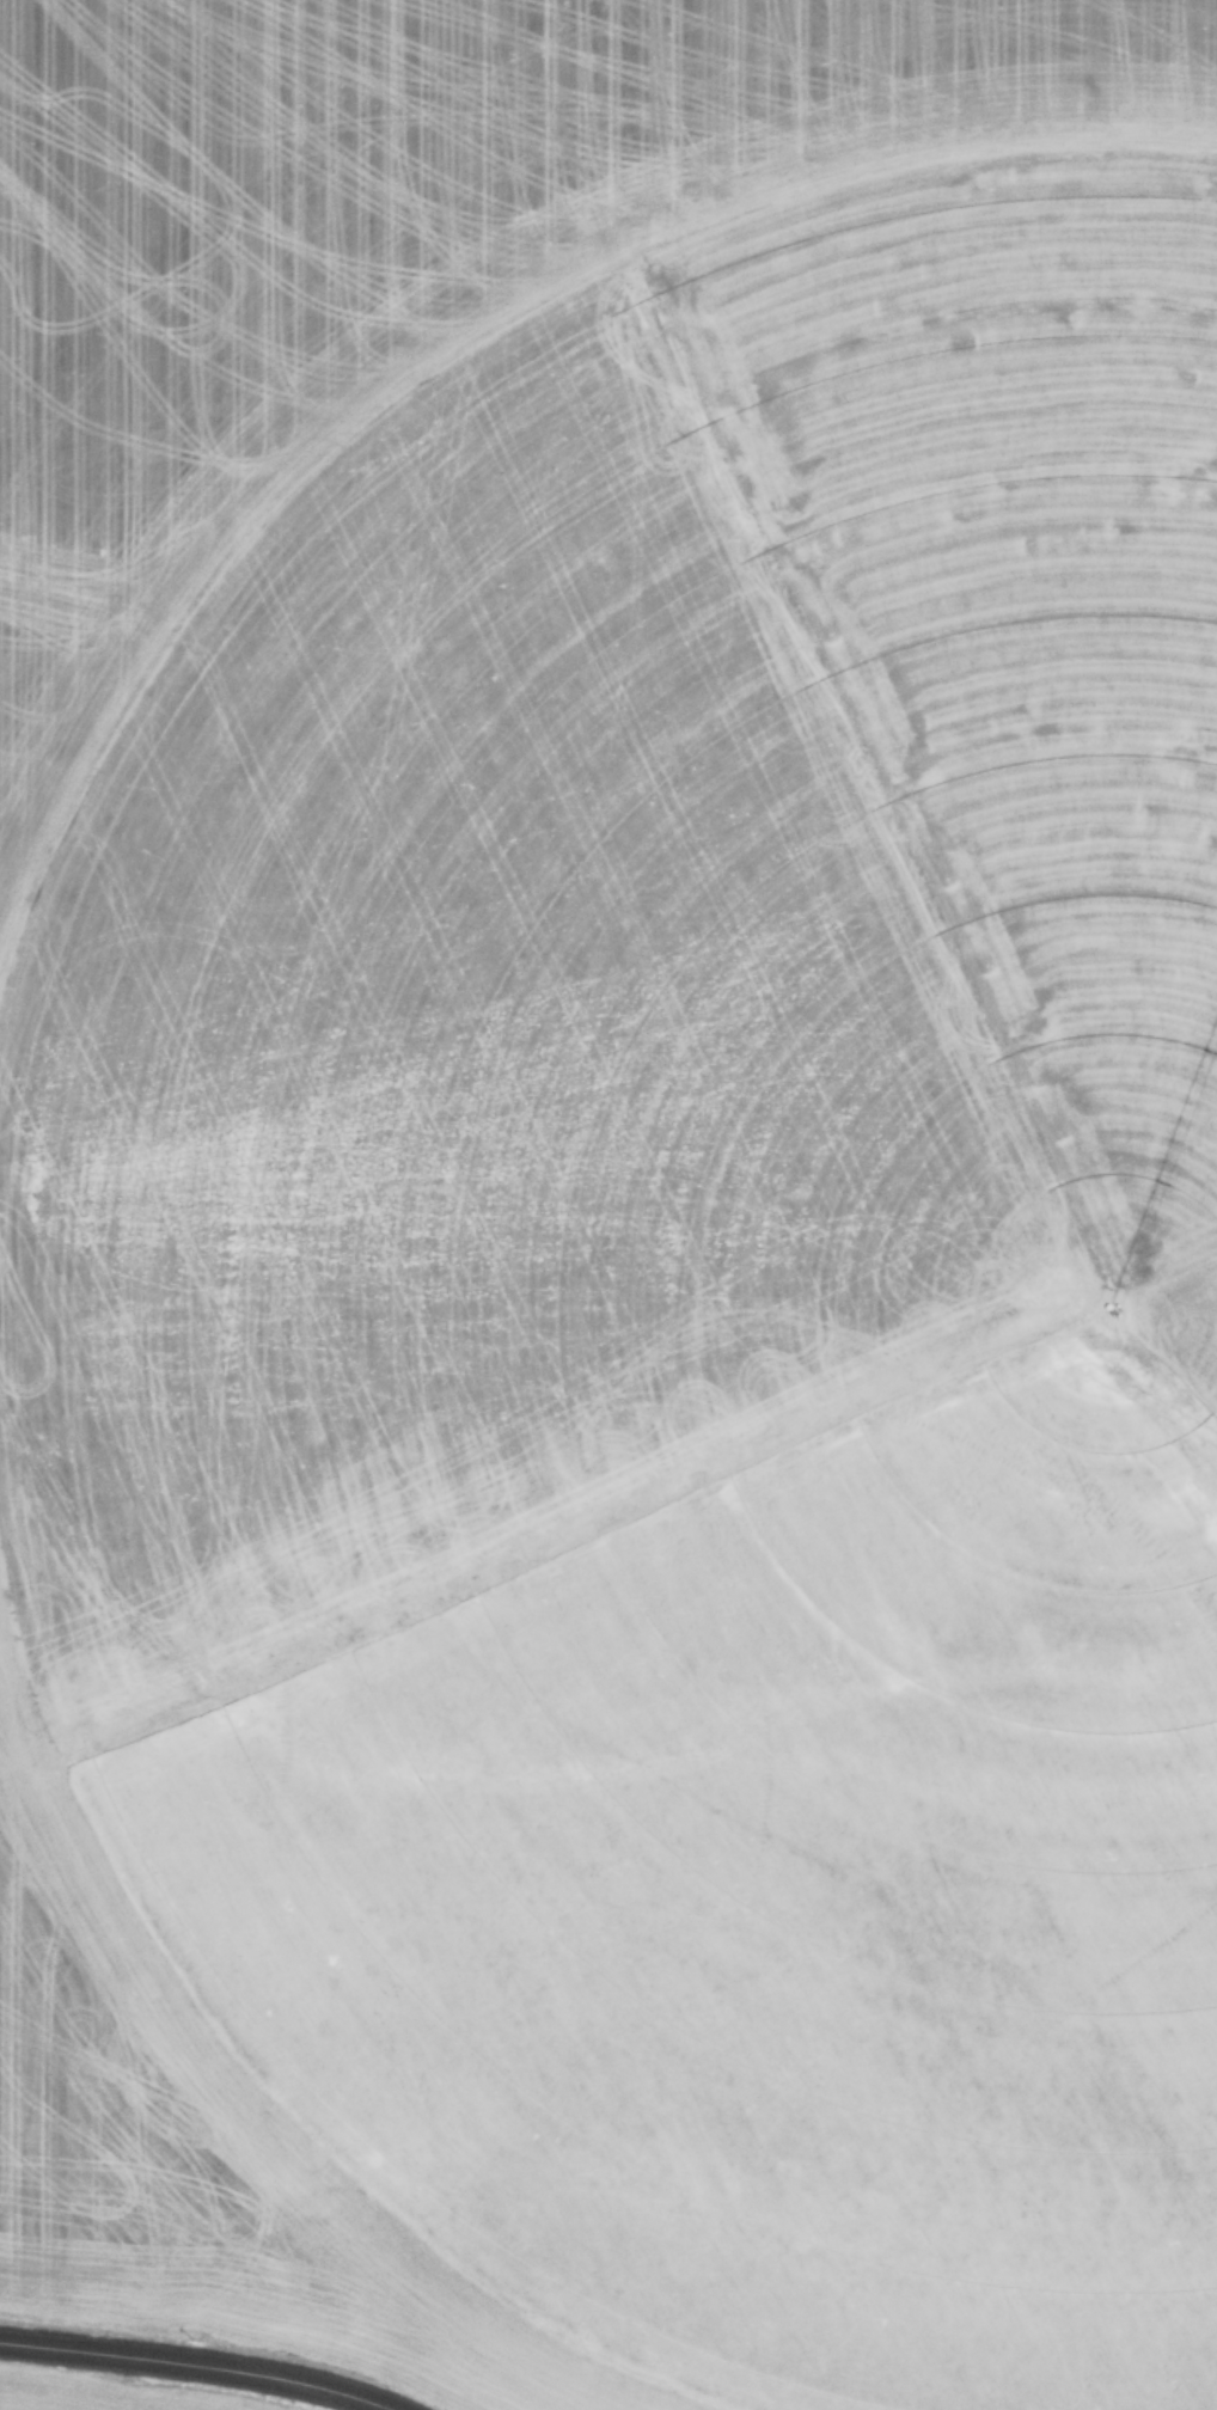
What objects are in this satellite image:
road: (204, 2354)

